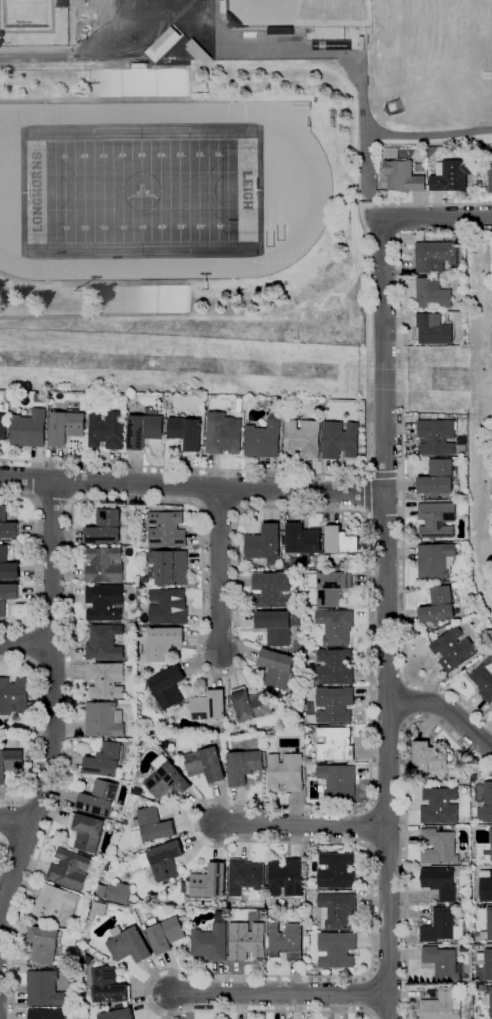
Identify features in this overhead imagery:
park: (107, 8)
park: (174, 8)
park: (299, 12)
park: (107, 38)
building: (164, 42)
building: (361, 43)
building: (331, 44)
building: (197, 50)
road: (35, 56)
road: (283, 58)
road: (73, 63)
building: (137, 67)
building: (139, 82)
road: (115, 100)
road: (231, 101)
road: (428, 133)
building: (431, 150)
building: (390, 153)
road: (365, 158)
building: (489, 170)
building: (450, 176)
building: (402, 177)
park: (140, 190)
track: (149, 190)
track: (320, 193)
road: (437, 216)
building: (436, 256)
road: (115, 281)
building: (432, 294)
building: (141, 298)
road: (257, 315)
road: (95, 316)
building: (433, 329)
building: (462, 342)
road: (385, 354)
building: (94, 397)
building: (280, 401)
building: (239, 404)
building: (433, 416)
building: (3, 427)
building: (66, 427)
building: (28, 429)
building: (144, 429)
building: (107, 430)
building: (186, 432)
building: (222, 434)
building: (436, 437)
building: (302, 438)
building: (262, 440)
building: (339, 440)
building: (461, 441)
road: (366, 457)
road: (35, 463)
road: (55, 463)
building: (437, 477)
road: (191, 485)
road: (361, 493)
road: (403, 495)
road: (54, 501)
road: (219, 509)
building: (436, 520)
building: (7, 524)
building: (104, 528)
road: (36, 530)
building: (166, 530)
road: (69, 536)
building: (302, 539)
building: (340, 541)
building: (263, 543)
road: (35, 560)
building: (435, 561)
building: (8, 564)
building: (104, 565)
building: (169, 567)
road: (218, 569)
road: (37, 571)
road: (69, 575)
building: (455, 585)
building: (329, 587)
building: (271, 590)
road: (36, 592)
building: (8, 596)
road: (69, 596)
building: (104, 603)
building: (438, 606)
building: (167, 607)
building: (335, 626)
building: (275, 627)
building: (441, 629)
road: (32, 642)
building: (105, 642)
building: (164, 643)
road: (26, 644)
building: (453, 649)
building: (306, 651)
road: (70, 652)
road: (16, 658)
road: (0, 661)
building: (334, 667)
building: (276, 668)
road: (70, 672)
road: (214, 674)
building: (107, 680)
building: (483, 680)
building: (169, 687)
building: (14, 696)
road: (71, 700)
road: (53, 702)
road: (412, 703)
building: (250, 704)
building: (334, 705)
building: (208, 706)
road: (447, 709)
building: (105, 720)
road: (70, 727)
building: (215, 727)
building: (309, 728)
road: (37, 742)
building: (334, 744)
road: (387, 755)
building: (30, 756)
building: (107, 759)
building: (428, 759)
road: (69, 761)
building: (11, 763)
building: (207, 764)
building: (244, 766)
building: (185, 770)
building: (285, 772)
road: (371, 780)
building: (168, 781)
building: (337, 782)
road: (62, 795)
building: (100, 798)
building: (486, 805)
building: (439, 806)
road: (55, 814)
road: (405, 818)
road: (17, 820)
road: (13, 821)
building: (112, 824)
road: (301, 824)
road: (367, 825)
building: (152, 826)
building: (88, 832)
building: (437, 846)
road: (2, 851)
building: (484, 851)
building: (166, 860)
road: (35, 864)
building: (70, 869)
road: (8, 871)
building: (337, 871)
building: (245, 876)
building: (287, 877)
building: (210, 882)
road: (27, 883)
building: (439, 883)
building: (486, 886)
building: (118, 893)
building: (54, 901)
road: (2, 902)
building: (99, 910)
building: (337, 910)
building: (222, 915)
building: (262, 915)
building: (66, 916)
building: (274, 917)
building: (442, 927)
building: (487, 927)
road: (14, 929)
building: (167, 935)
road: (371, 939)
building: (248, 940)
building: (287, 941)
building: (211, 942)
building: (44, 944)
building: (130, 944)
building: (337, 949)
road: (404, 953)
building: (443, 964)
building: (488, 964)
road: (170, 972)
road: (156, 976)
road: (191, 976)
road: (237, 976)
road: (218, 977)
road: (295, 977)
building: (478, 980)
building: (481, 984)
building: (109, 986)
building: (44, 988)
road: (148, 992)
building: (463, 992)
road: (277, 993)
road: (369, 994)
road: (413, 994)
road: (14, 997)
building: (488, 999)
road: (152, 1005)
road: (166, 1005)
road: (240, 1005)
road: (188, 1006)
road: (278, 1006)
road: (299, 1006)
road: (337, 1006)
building: (442, 1006)
building: (48, 1014)
building: (118, 1014)
road: (14, 1017)

